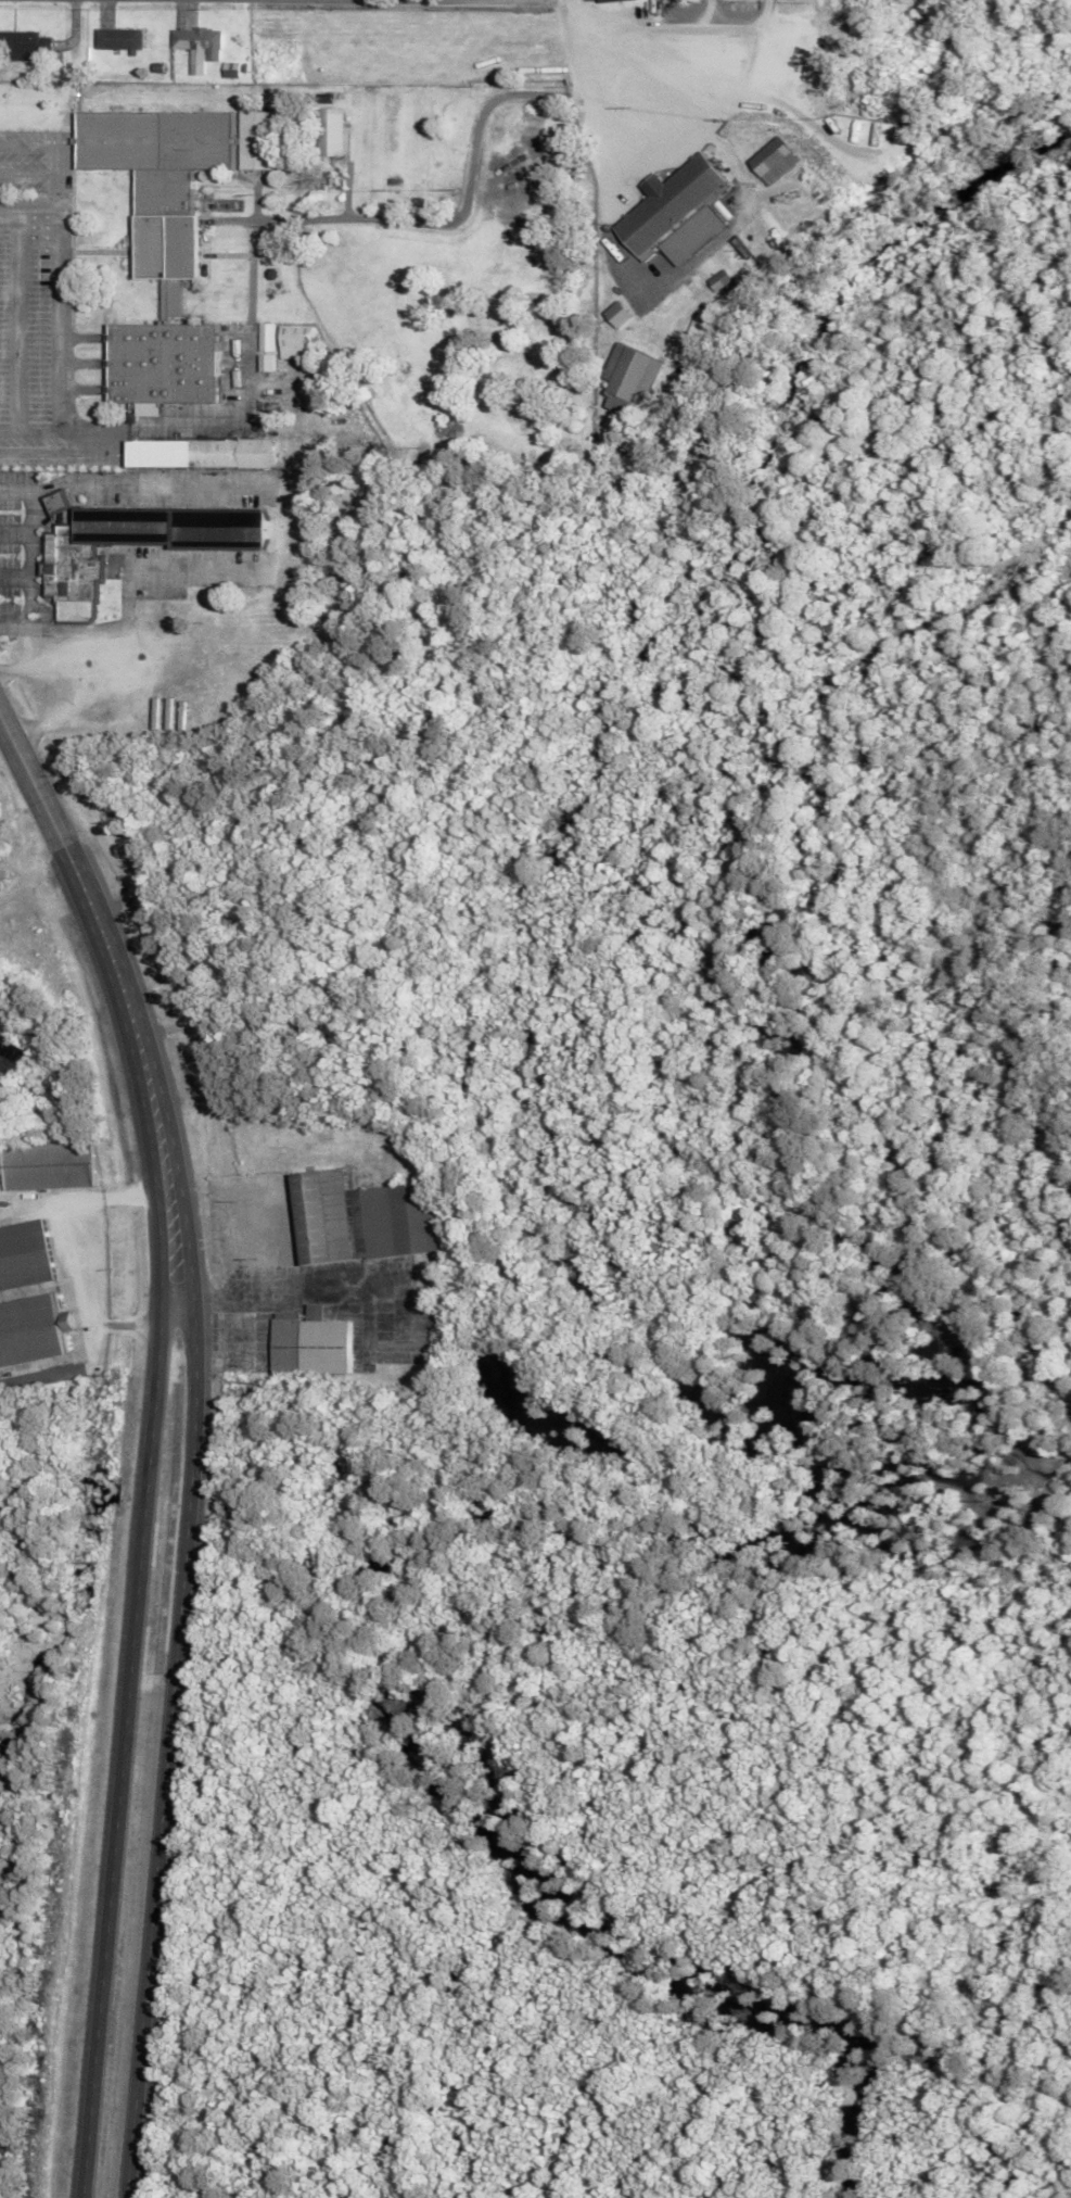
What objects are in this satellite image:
road: (582, 49)
road: (126, 988)
road: (161, 1745)
road: (126, 1746)

